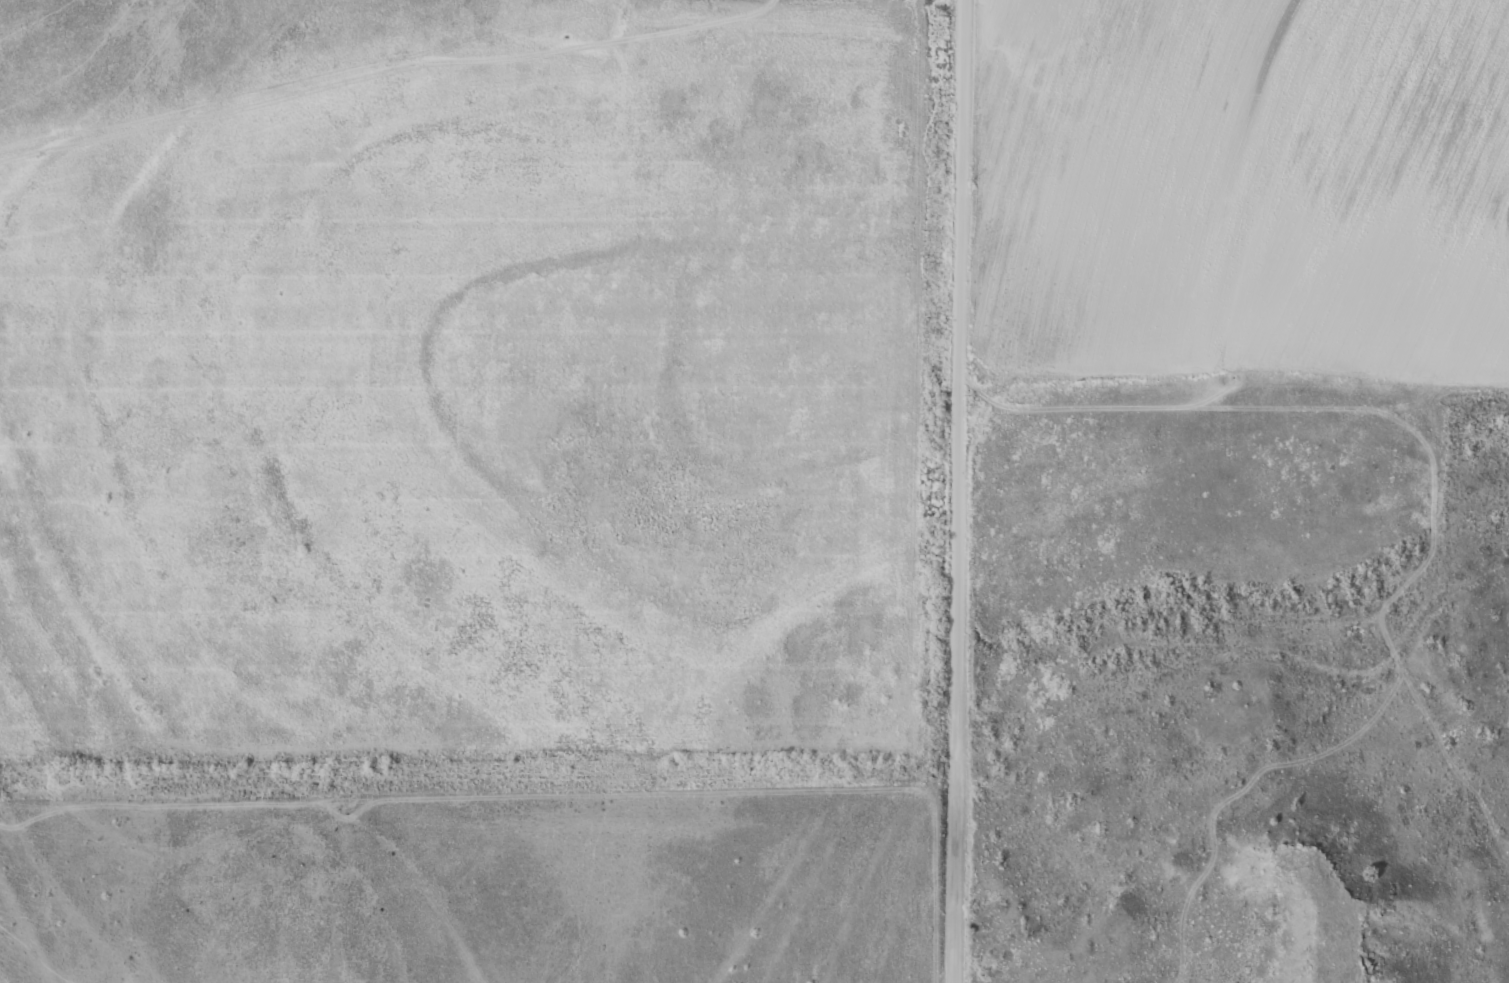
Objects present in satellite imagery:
road: (1235, 386)
road: (960, 491)

